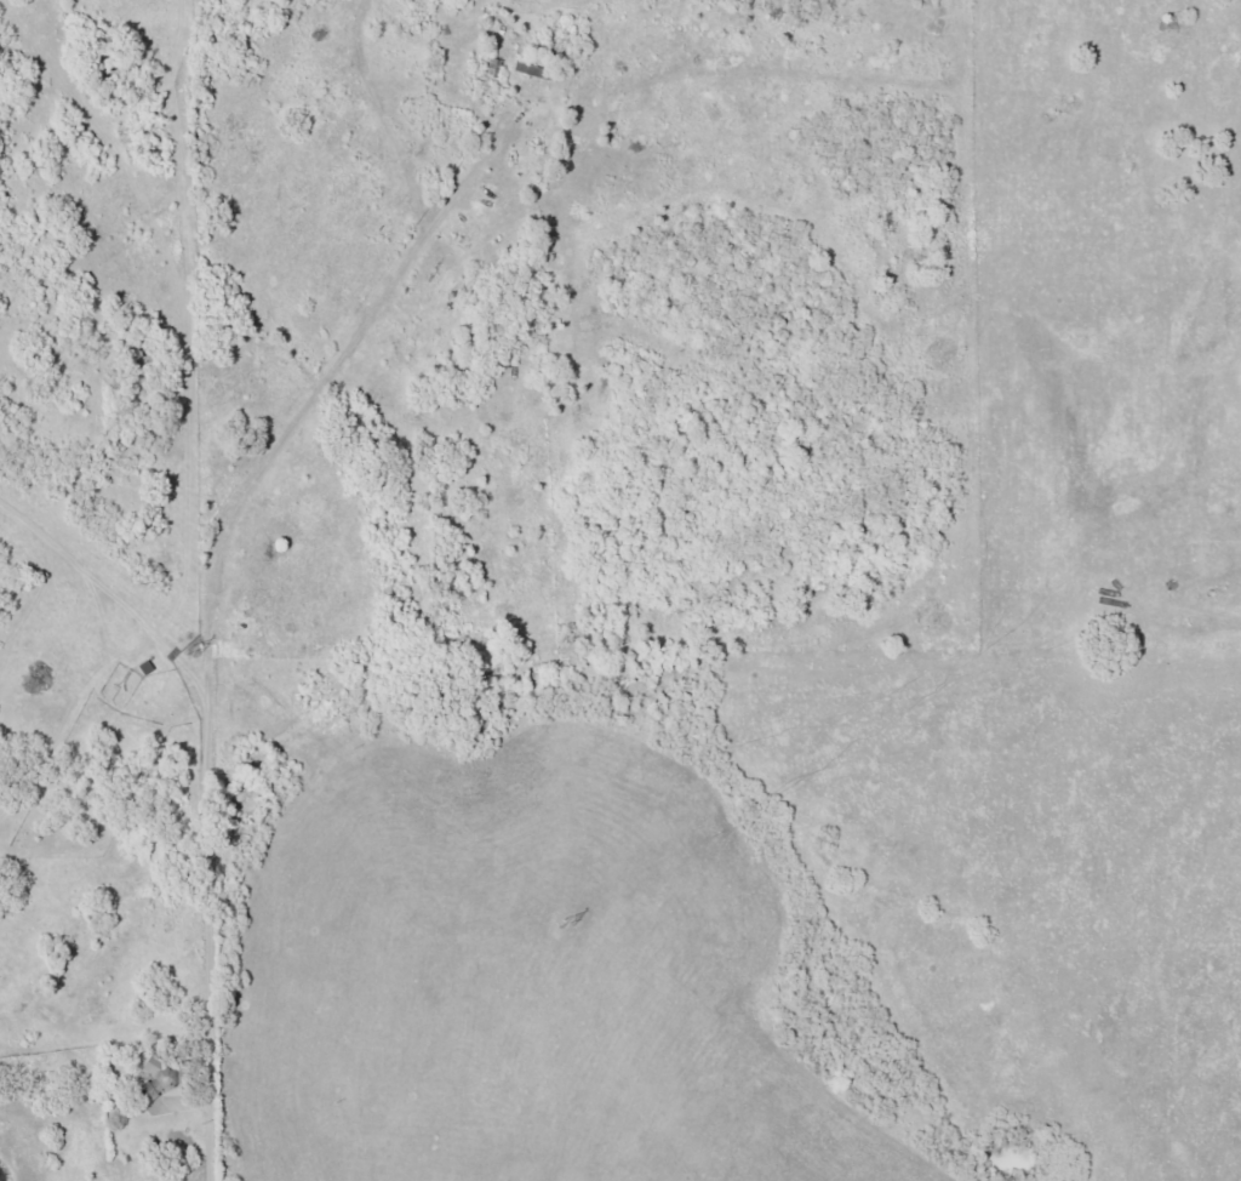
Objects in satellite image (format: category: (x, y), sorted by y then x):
building: (493, 67)
power tower: (176, 651)
road: (213, 923)
power tower: (553, 925)
building: (151, 1067)

